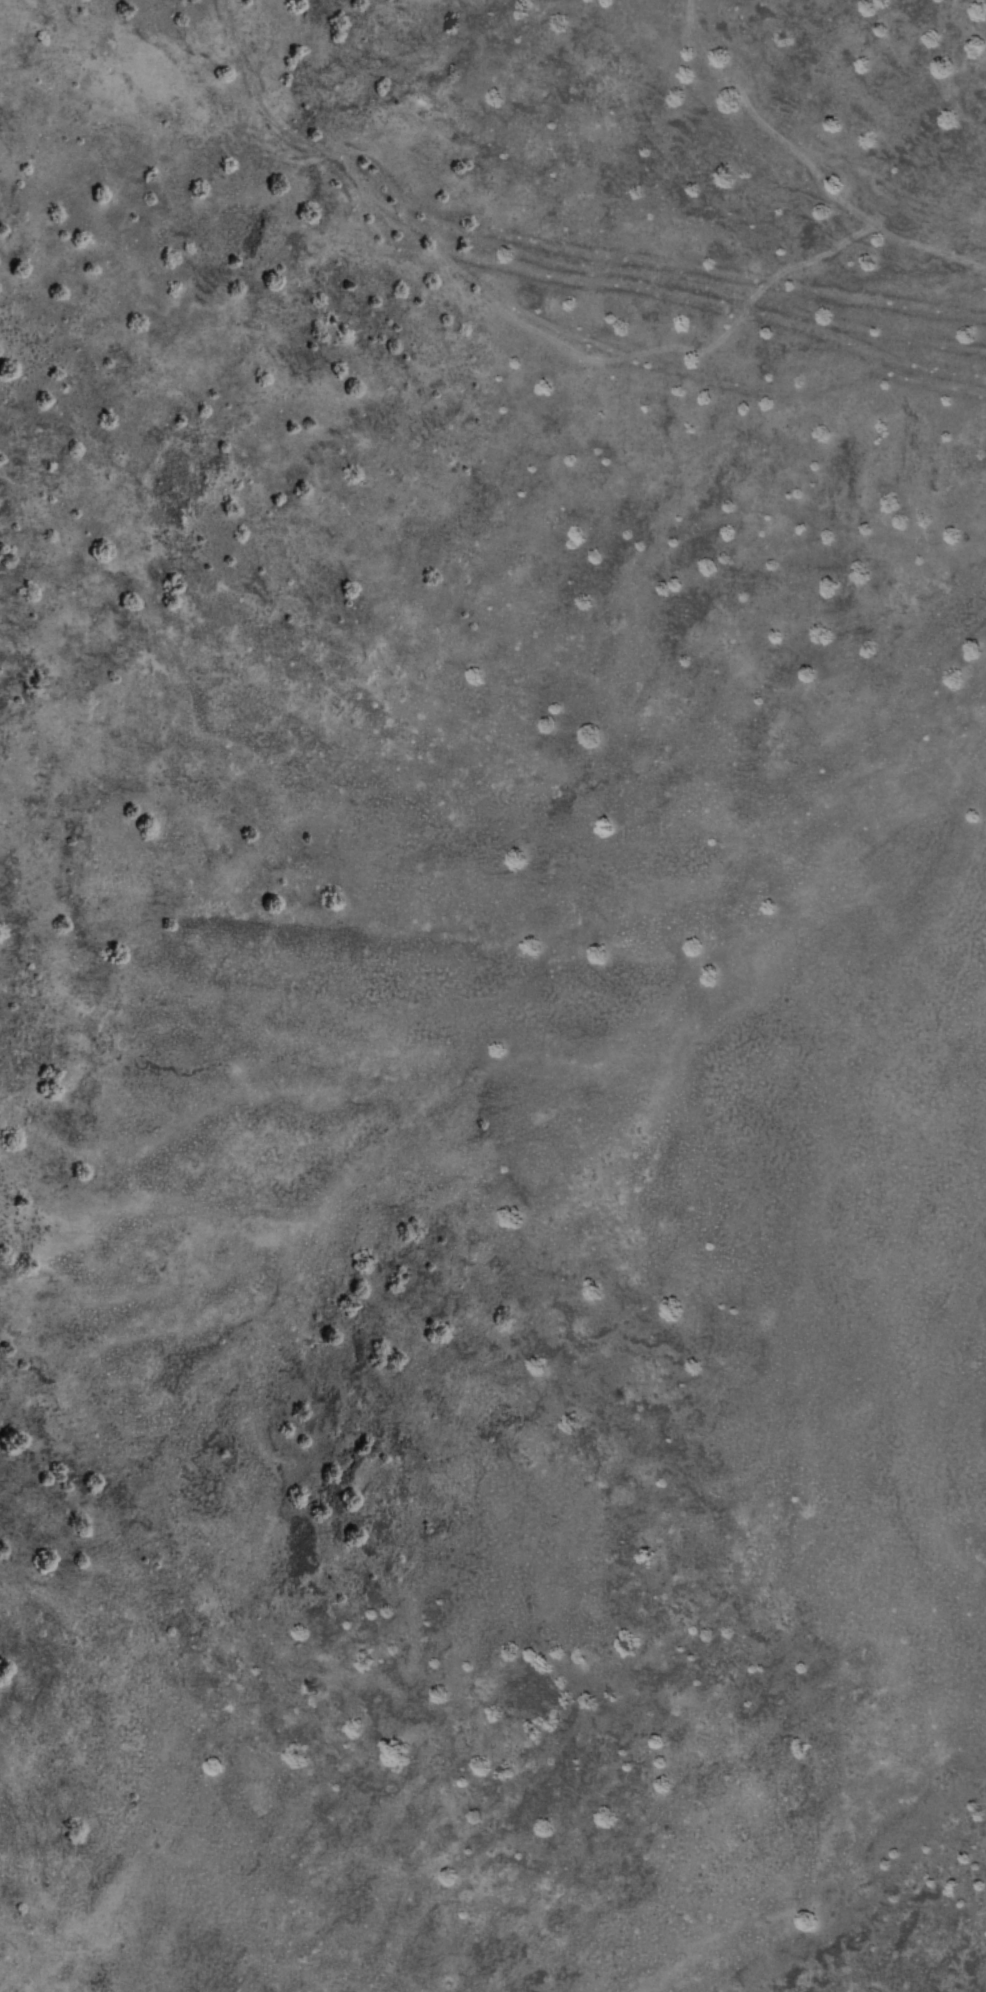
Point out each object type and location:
road: (550, 272)

